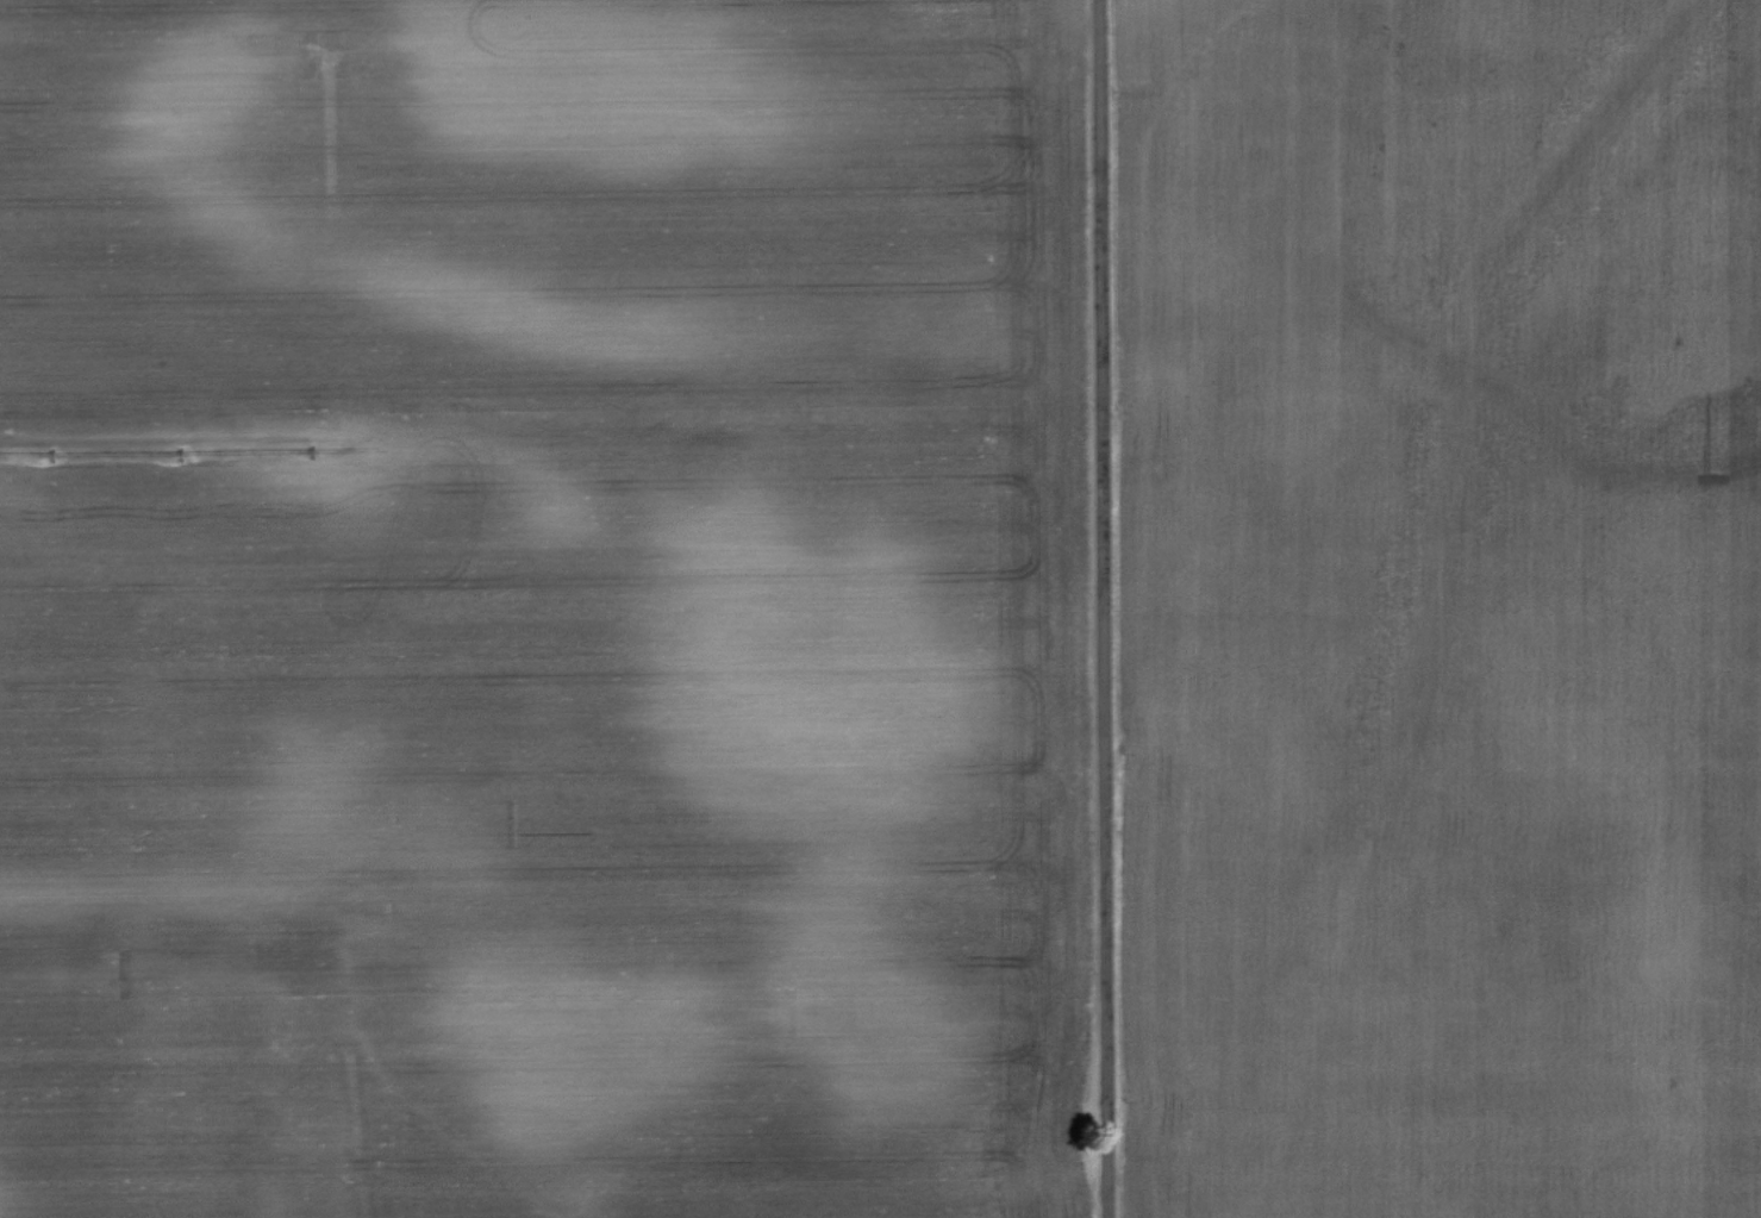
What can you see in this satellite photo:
road: (1104, 608)

